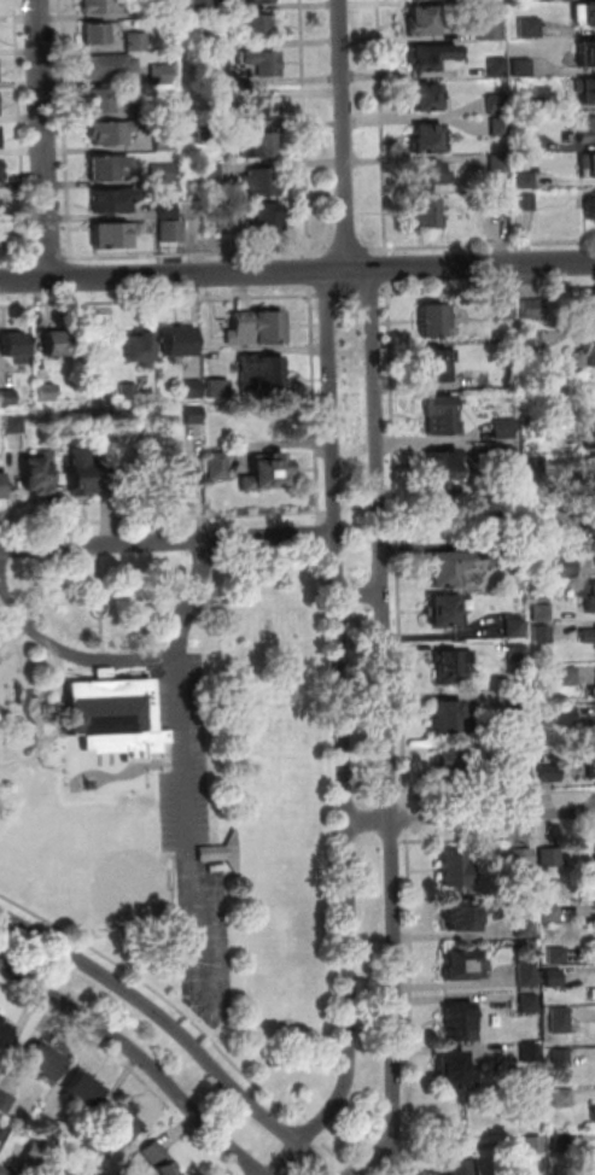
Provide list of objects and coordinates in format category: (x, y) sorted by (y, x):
building: (543, 0)
building: (262, 2)
building: (205, 5)
building: (104, 7)
building: (164, 10)
building: (583, 11)
building: (484, 18)
building: (424, 23)
building: (255, 27)
building: (527, 27)
building: (100, 34)
building: (209, 42)
building: (139, 43)
building: (583, 49)
building: (424, 60)
building: (492, 63)
building: (259, 64)
building: (520, 66)
building: (112, 68)
building: (164, 74)
building: (206, 78)
building: (582, 88)
building: (420, 95)
building: (103, 103)
building: (521, 103)
building: (496, 104)
building: (258, 109)
building: (147, 110)
road: (379, 127)
building: (497, 127)
road: (19, 129)
road: (64, 129)
building: (581, 130)
road: (307, 131)
building: (113, 133)
building: (211, 135)
road: (344, 135)
building: (421, 135)
road: (46, 140)
building: (167, 141)
building: (523, 144)
building: (261, 148)
building: (497, 163)
building: (584, 163)
building: (110, 169)
building: (0, 170)
building: (422, 170)
building: (214, 173)
building: (165, 174)
building: (523, 180)
building: (262, 183)
building: (498, 200)
building: (524, 201)
building: (116, 203)
building: (1, 204)
building: (585, 207)
building: (419, 210)
building: (170, 211)
building: (268, 220)
building: (231, 224)
building: (173, 230)
building: (1, 232)
building: (113, 238)
road: (482, 244)
road: (345, 249)
road: (189, 255)
road: (47, 258)
road: (14, 259)
road: (389, 268)
road: (311, 270)
road: (297, 273)
road: (489, 290)
road: (352, 293)
road: (161, 299)
building: (533, 310)
building: (504, 311)
building: (591, 315)
building: (438, 323)
building: (258, 329)
building: (533, 341)
building: (180, 344)
building: (59, 345)
building: (17, 347)
building: (142, 350)
building: (588, 355)
building: (438, 367)
building: (262, 374)
building: (220, 390)
building: (193, 391)
building: (587, 391)
building: (130, 392)
building: (48, 393)
building: (8, 398)
building: (196, 416)
building: (443, 417)
building: (538, 423)
building: (16, 425)
building: (506, 431)
building: (589, 434)
building: (508, 456)
building: (218, 466)
building: (443, 468)
building: (536, 469)
building: (81, 474)
building: (111, 474)
building: (40, 475)
building: (268, 475)
building: (179, 477)
building: (593, 477)
building: (1, 489)
road: (202, 492)
road: (274, 514)
building: (538, 519)
building: (590, 524)
road: (168, 542)
road: (397, 546)
building: (589, 548)
building: (513, 549)
building: (594, 553)
building: (567, 568)
building: (453, 569)
road: (363, 596)
building: (589, 598)
road: (100, 602)
building: (542, 610)
building: (445, 614)
building: (517, 629)
building: (543, 633)
building: (589, 636)
road: (66, 651)
building: (519, 654)
building: (451, 666)
road: (57, 673)
building: (570, 677)
building: (591, 691)
road: (41, 697)
building: (520, 703)
building: (566, 717)
building: (112, 718)
building: (454, 719)
road: (390, 732)
road: (346, 738)
building: (455, 764)
building: (593, 765)
road: (177, 767)
building: (520, 767)
building: (552, 773)
park: (173, 784)
road: (502, 794)
road: (472, 818)
road: (410, 820)
parking lot: (194, 836)
road: (502, 836)
building: (221, 855)
building: (524, 855)
building: (555, 858)
building: (454, 873)
park: (122, 881)
building: (552, 914)
building: (462, 919)
building: (527, 929)
building: (559, 955)
building: (465, 969)
building: (529, 976)
building: (555, 978)
road: (162, 996)
road: (412, 1002)
building: (531, 1004)
building: (561, 1022)
building: (461, 1025)
building: (5, 1030)
road: (175, 1033)
building: (531, 1054)
building: (561, 1056)
building: (46, 1059)
road: (138, 1060)
road: (127, 1068)
building: (453, 1075)
building: (84, 1087)
building: (564, 1099)
building: (4, 1100)
building: (46, 1122)
building: (115, 1126)
building: (1, 1128)
road: (311, 1130)
building: (561, 1142)
building: (536, 1144)
road: (270, 1146)
building: (36, 1147)
building: (87, 1147)
road: (336, 1153)
road: (397, 1157)
building: (154, 1158)
road: (410, 1158)
road: (399, 1161)
building: (66, 1167)
road: (384, 1168)
building: (460, 1168)
road: (354, 1170)
building: (1, 1174)

